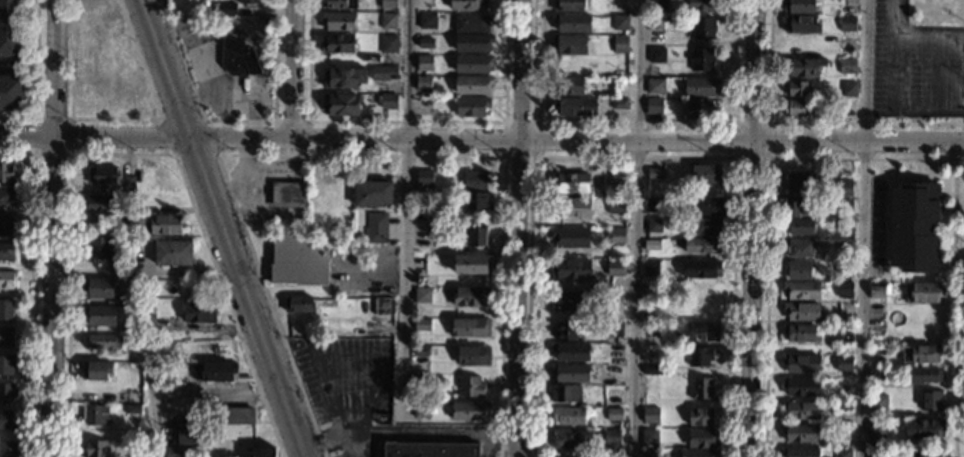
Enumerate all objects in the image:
building: (248, 1)
building: (340, 4)
building: (388, 4)
building: (467, 4)
building: (658, 4)
building: (569, 5)
building: (702, 5)
building: (799, 6)
building: (228, 9)
road: (894, 17)
building: (427, 20)
building: (339, 21)
building: (388, 21)
building: (572, 22)
building: (620, 22)
building: (655, 22)
building: (471, 23)
building: (801, 24)
building: (847, 24)
building: (12, 28)
building: (704, 28)
road: (928, 33)
building: (847, 42)
building: (338, 43)
building: (426, 43)
building: (473, 43)
building: (389, 44)
building: (570, 44)
building: (620, 44)
building: (800, 44)
building: (657, 55)
building: (238, 57)
building: (702, 59)
building: (619, 61)
building: (424, 62)
building: (473, 64)
building: (583, 64)
road: (28, 65)
building: (847, 65)
building: (804, 67)
road: (293, 68)
road: (755, 69)
road: (894, 70)
building: (382, 72)
road: (941, 72)
road: (35, 77)
building: (343, 78)
building: (425, 83)
building: (473, 85)
building: (655, 85)
building: (569, 86)
building: (700, 86)
building: (798, 88)
building: (848, 89)
building: (12, 92)
building: (388, 101)
building: (341, 104)
building: (619, 104)
building: (653, 105)
building: (424, 106)
building: (472, 106)
building: (576, 107)
building: (797, 108)
building: (700, 109)
road: (928, 112)
road: (120, 119)
road: (203, 120)
road: (235, 121)
road: (291, 121)
road: (406, 121)
road: (638, 122)
road: (804, 123)
road: (377, 137)
road: (859, 140)
road: (959, 142)
road: (71, 153)
road: (131, 154)
road: (348, 155)
road: (503, 156)
road: (636, 156)
road: (768, 157)
road: (862, 158)
building: (7, 172)
building: (656, 173)
building: (705, 174)
building: (104, 175)
building: (425, 177)
building: (475, 181)
building: (571, 182)
building: (798, 182)
building: (130, 183)
building: (843, 188)
building: (335, 190)
building: (618, 191)
building: (373, 193)
building: (289, 194)
building: (9, 195)
building: (477, 202)
building: (99, 203)
building: (653, 205)
building: (842, 205)
building: (616, 206)
building: (572, 207)
building: (708, 207)
building: (795, 207)
road: (407, 211)
building: (422, 214)
building: (157, 223)
building: (6, 224)
building: (654, 225)
building: (846, 225)
building: (801, 226)
building: (376, 227)
building: (705, 227)
building: (914, 227)
road: (55, 228)
road: (222, 228)
road: (521, 228)
road: (635, 228)
road: (863, 228)
building: (320, 229)
building: (477, 236)
building: (617, 236)
building: (570, 237)
building: (652, 245)
building: (702, 245)
building: (846, 246)
building: (99, 248)
building: (799, 248)
building: (7, 251)
building: (173, 253)
building: (297, 260)
building: (473, 264)
building: (844, 267)
building: (615, 268)
building: (651, 268)
building: (700, 268)
building: (121, 270)
building: (571, 270)
building: (799, 270)
building: (7, 278)
building: (652, 285)
road: (33, 288)
building: (99, 288)
building: (703, 289)
building: (844, 289)
building: (802, 290)
building: (877, 290)
building: (923, 292)
building: (423, 295)
building: (615, 295)
building: (472, 297)
road: (753, 298)
building: (126, 299)
building: (567, 300)
building: (299, 304)
building: (383, 306)
building: (7, 308)
building: (651, 310)
building: (802, 310)
building: (701, 311)
building: (199, 312)
building: (100, 315)
building: (147, 323)
building: (422, 325)
building: (128, 327)
building: (471, 328)
building: (615, 329)
building: (650, 330)
building: (567, 331)
building: (701, 332)
building: (802, 333)
building: (842, 334)
building: (6, 336)
building: (104, 342)
building: (615, 349)
building: (421, 351)
building: (572, 351)
building: (876, 354)
building: (920, 354)
building: (473, 355)
building: (700, 356)
building: (802, 363)
building: (844, 363)
building: (7, 364)
building: (421, 368)
building: (616, 369)
building: (653, 370)
building: (96, 371)
building: (213, 371)
building: (570, 373)
building: (876, 373)
building: (925, 375)
building: (420, 380)
building: (801, 386)
building: (842, 386)
building: (470, 387)
building: (702, 388)
building: (9, 391)
building: (565, 393)
building: (131, 395)
road: (151, 400)
building: (931, 400)
building: (878, 402)
building: (841, 406)
road: (335, 409)
building: (422, 409)
building: (801, 409)
building: (470, 411)
building: (132, 412)
building: (614, 414)
building: (95, 415)
building: (233, 415)
building: (651, 415)
building: (569, 416)
building: (700, 417)
building: (7, 420)
building: (925, 428)
road: (408, 432)
building: (801, 433)
building: (842, 433)
building: (191, 434)
building: (649, 435)
building: (611, 436)
building: (876, 436)
building: (568, 438)
building: (702, 438)
road: (488, 445)
building: (97, 448)
building: (9, 449)
building: (430, 449)
building: (262, 451)
building: (799, 451)
building: (174, 452)
building: (887, 452)
building: (651, 453)
building: (699, 453)
building: (842, 453)
building: (875, 453)
building: (924, 454)
building: (138, 455)

